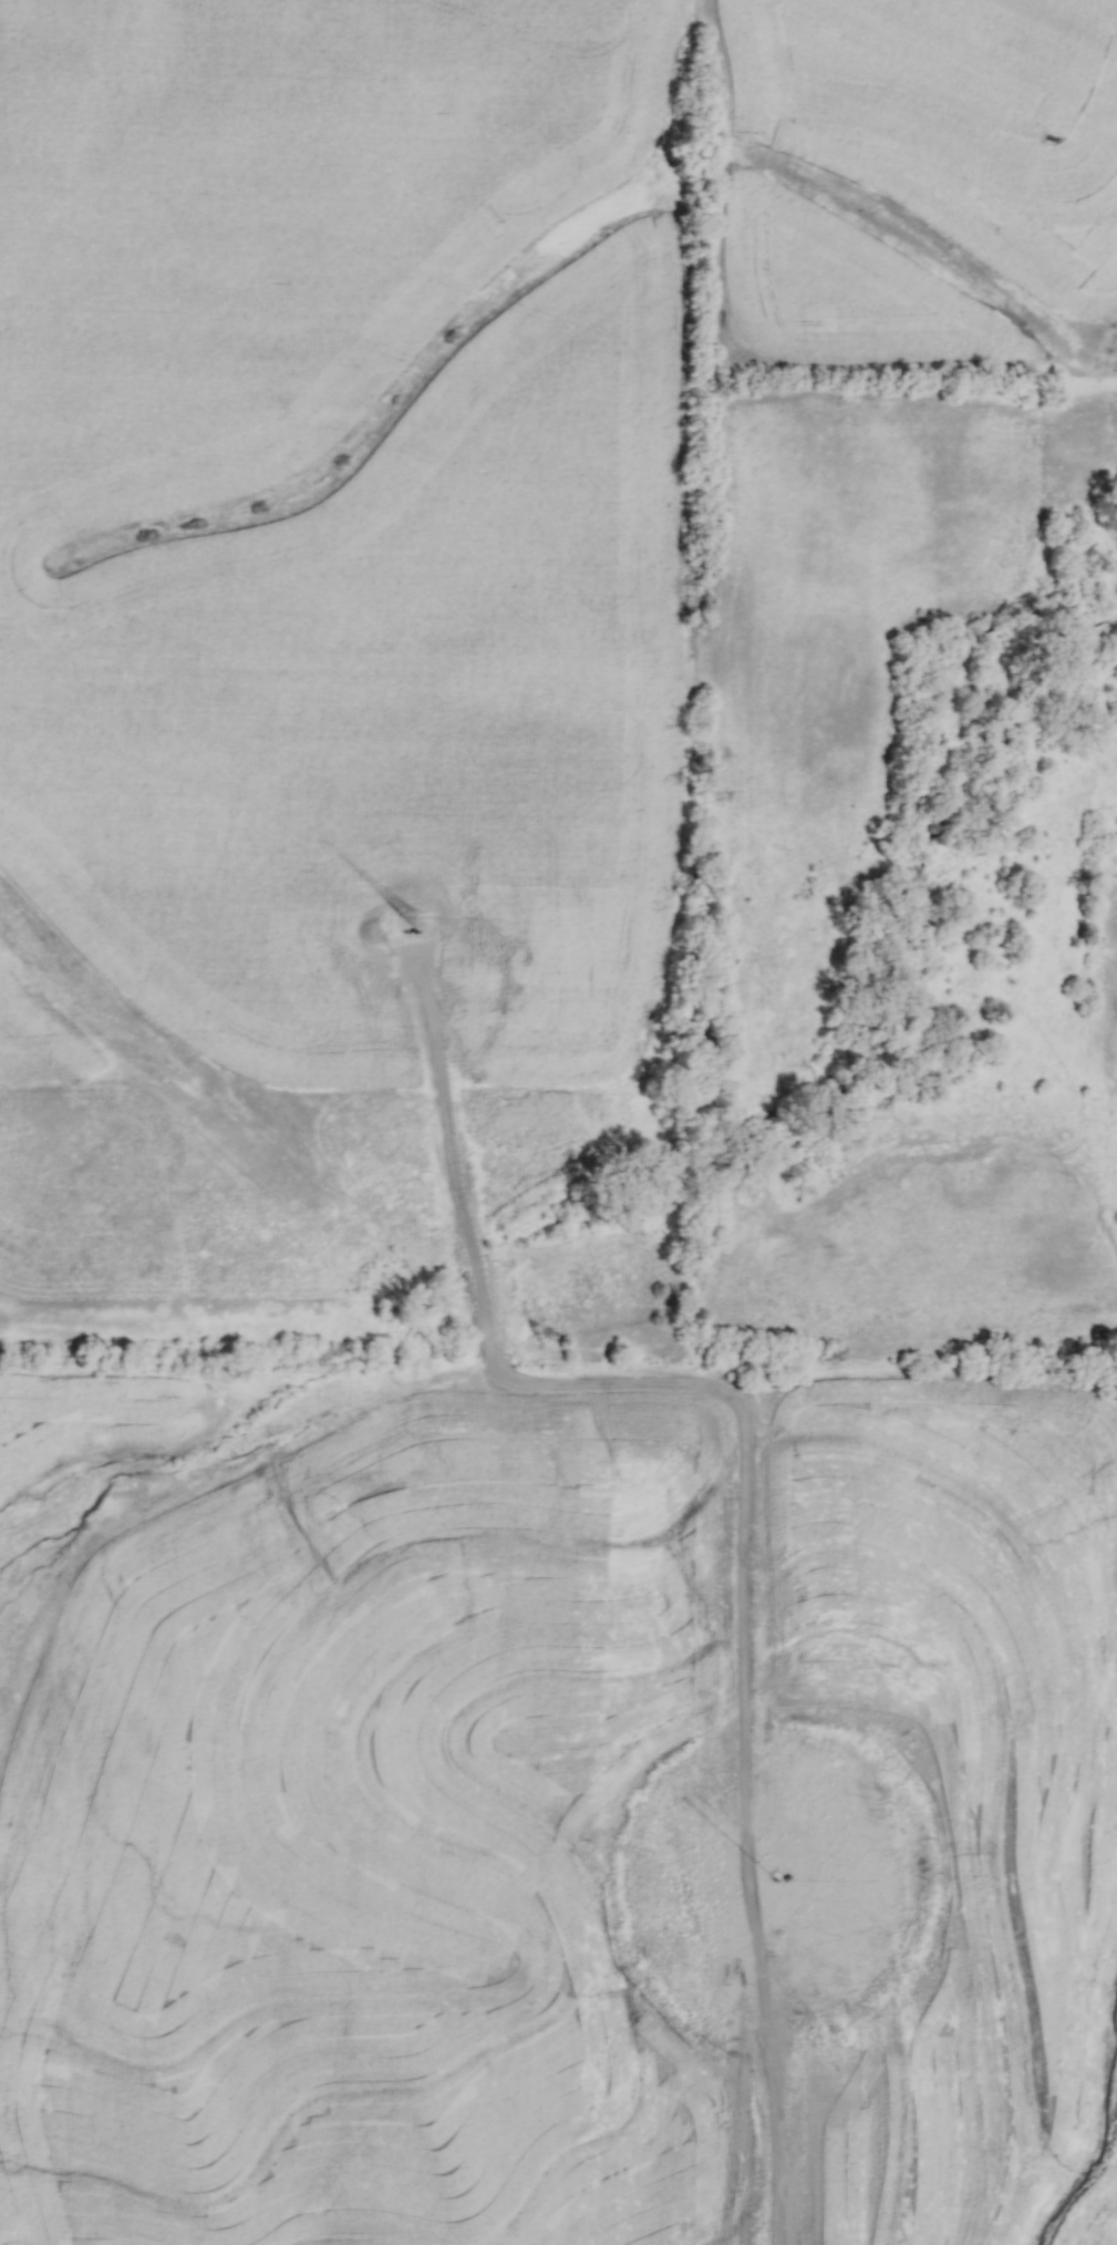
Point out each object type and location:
wind turbine: (780, 1880)

